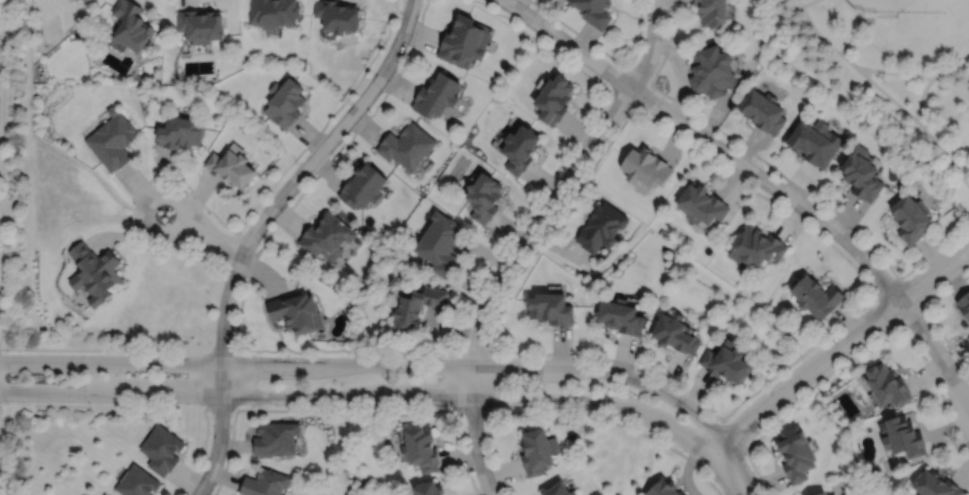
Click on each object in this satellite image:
building: (82, 0)
road: (807, 3)
park: (900, 6)
street lamp: (536, 10)
building: (593, 11)
building: (274, 12)
building: (712, 12)
road: (865, 13)
building: (339, 15)
building: (131, 25)
building: (201, 25)
street lamp: (664, 33)
road: (852, 33)
building: (466, 41)
road: (605, 51)
road: (625, 66)
park: (887, 67)
road: (868, 69)
building: (711, 70)
road: (609, 90)
road: (611, 90)
street lamp: (382, 93)
building: (438, 95)
road: (889, 97)
building: (554, 98)
building: (286, 102)
road: (636, 108)
street lamp: (646, 109)
building: (763, 110)
building: (179, 133)
road: (927, 133)
building: (113, 142)
road: (709, 142)
building: (815, 142)
building: (408, 146)
road: (743, 147)
building: (523, 149)
street lamp: (575, 149)
street lamp: (296, 162)
street lamp: (761, 165)
building: (232, 167)
building: (645, 167)
road: (2, 169)
building: (862, 173)
road: (564, 182)
road: (290, 187)
building: (364, 187)
road: (159, 191)
road: (263, 194)
building: (486, 198)
building: (702, 205)
building: (910, 219)
building: (601, 227)
street lamp: (855, 233)
building: (327, 237)
road: (829, 242)
street lamp: (259, 245)
building: (442, 245)
street lamp: (150, 246)
street lamp: (533, 246)
building: (757, 247)
road: (931, 252)
building: (96, 274)
building: (817, 297)
building: (964, 306)
building: (420, 308)
building: (551, 309)
road: (924, 309)
building: (297, 314)
building: (620, 317)
road: (930, 317)
road: (902, 325)
road: (901, 327)
street lamp: (891, 328)
building: (675, 335)
street lamp: (233, 338)
street lamp: (487, 341)
road: (841, 347)
road: (50, 349)
road: (936, 350)
street lamp: (9, 352)
street lamp: (107, 352)
road: (380, 353)
road: (476, 353)
road: (862, 357)
street lamp: (803, 359)
building: (728, 362)
road: (374, 364)
street lamp: (635, 370)
road: (235, 376)
road: (462, 382)
building: (889, 384)
road: (363, 398)
road: (489, 398)
street lamp: (6, 402)
street lamp: (90, 402)
street lamp: (202, 405)
street lamp: (349, 406)
road: (223, 407)
street lamp: (446, 407)
road: (346, 411)
street lamp: (589, 411)
road: (573, 415)
street lamp: (717, 420)
road: (475, 431)
road: (734, 435)
building: (277, 437)
building: (904, 438)
road: (218, 447)
building: (423, 447)
building: (162, 449)
building: (540, 449)
road: (203, 452)
building: (798, 452)
road: (733, 471)
building: (137, 482)
building: (266, 482)
street lamp: (216, 485)
building: (935, 485)
building: (431, 487)
building: (664, 487)
building: (563, 489)
building: (821, 493)
building: (105, 494)

